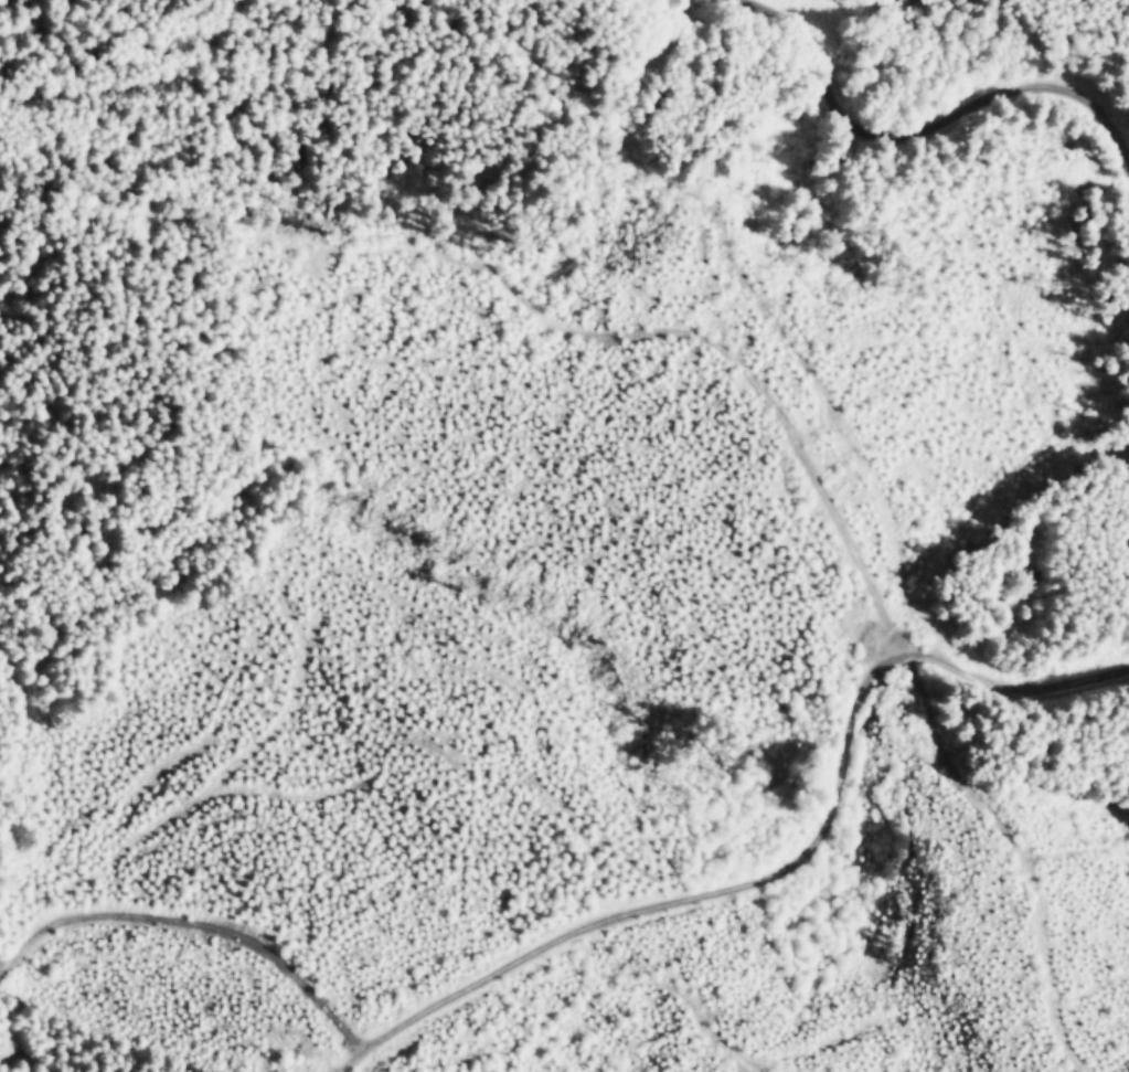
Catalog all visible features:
road: (175, 71)
road: (40, 91)
road: (922, 132)
road: (544, 316)
road: (786, 867)
road: (202, 927)

